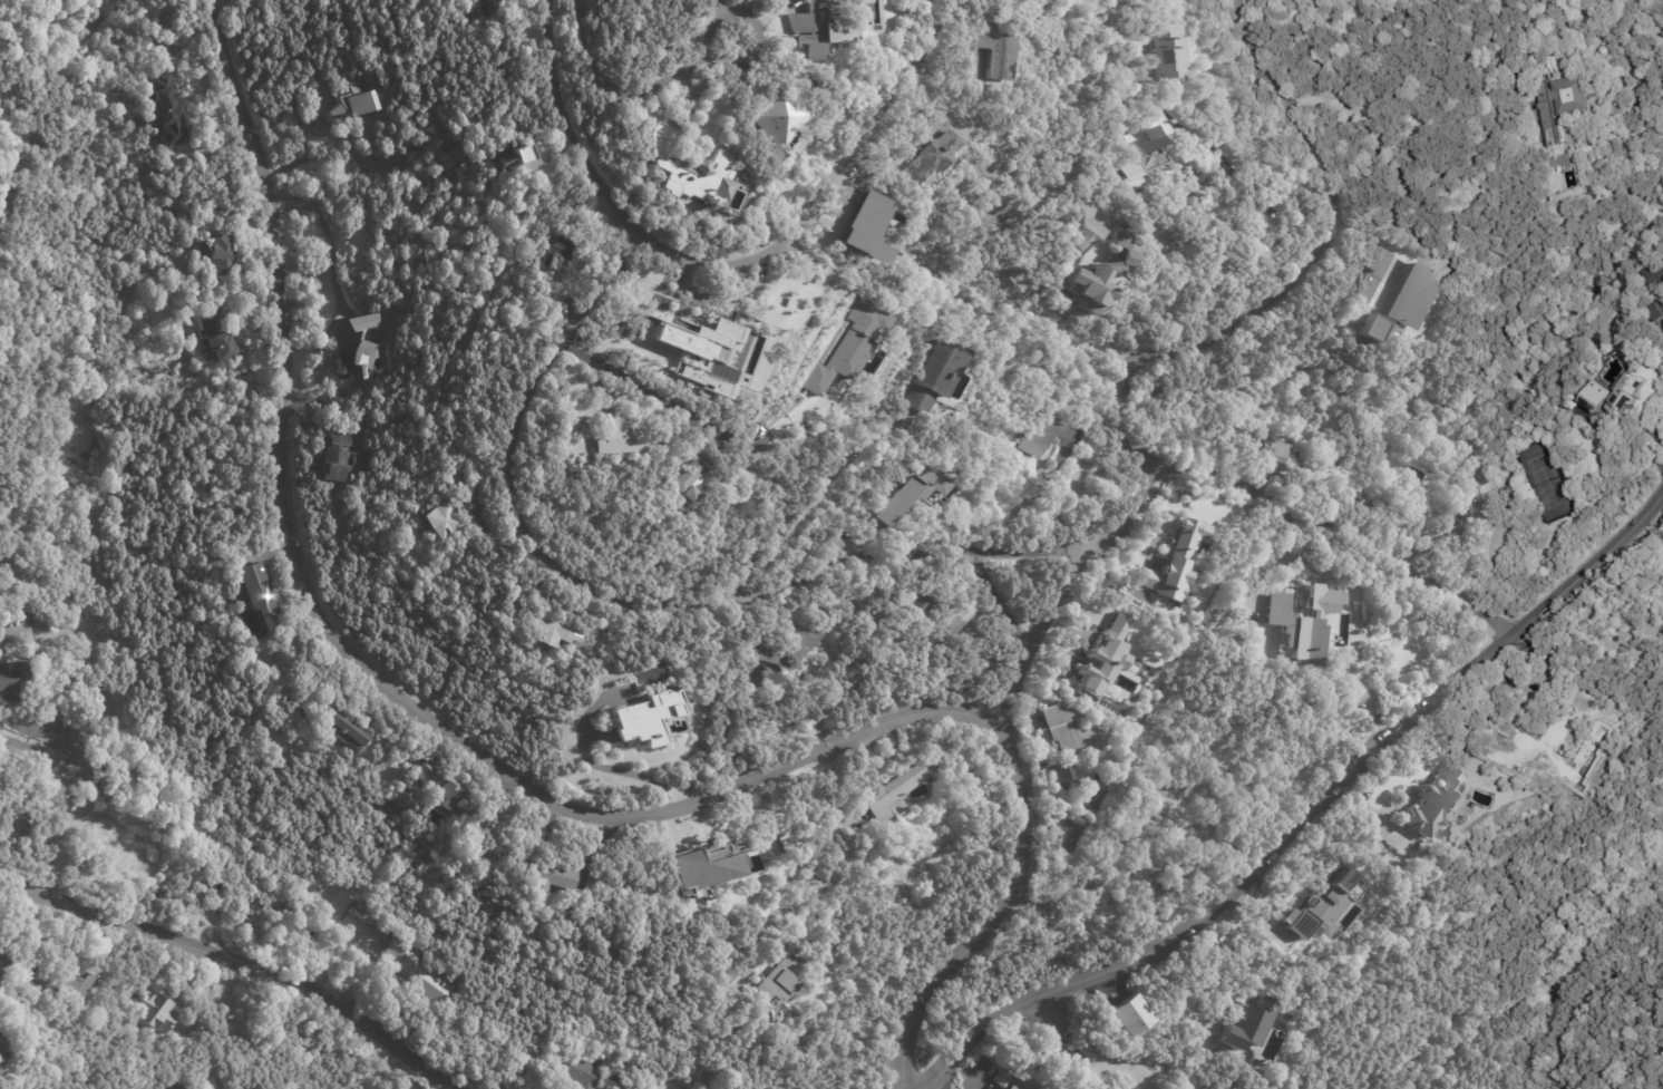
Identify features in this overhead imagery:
building: (819, 23)
building: (998, 50)
building: (1170, 50)
road: (747, 54)
building: (810, 54)
building: (1557, 59)
building: (1147, 71)
road: (1636, 84)
road: (612, 87)
building: (1574, 96)
building: (350, 106)
building: (1662, 107)
building: (164, 110)
building: (775, 121)
building: (1553, 124)
road: (565, 126)
road: (303, 135)
building: (1146, 154)
building: (513, 158)
building: (932, 158)
building: (691, 171)
road: (1239, 181)
road: (821, 193)
building: (865, 226)
building: (1092, 227)
road: (329, 236)
building: (1424, 243)
building: (1126, 249)
building: (1443, 252)
building: (217, 255)
building: (1381, 262)
building: (1662, 262)
building: (548, 265)
road: (1297, 268)
building: (1653, 275)
building: (1089, 289)
building: (1365, 290)
building: (782, 295)
building: (1411, 296)
building: (506, 310)
building: (1656, 313)
road: (1131, 317)
building: (1373, 329)
building: (212, 336)
building: (1368, 344)
building: (359, 346)
building: (707, 352)
building: (935, 376)
road: (632, 380)
building: (1615, 398)
building: (1043, 434)
building: (622, 439)
building: (1274, 453)
building: (337, 459)
building: (747, 464)
building: (572, 470)
building: (1471, 478)
building: (688, 483)
building: (1507, 493)
building: (910, 495)
building: (469, 503)
road: (806, 503)
building: (1363, 503)
road: (1129, 506)
building: (1453, 519)
building: (439, 524)
road: (1332, 531)
building: (1402, 543)
road: (1272, 561)
building: (1177, 563)
building: (254, 596)
road: (1000, 603)
building: (922, 606)
building: (1261, 609)
road: (638, 610)
building: (964, 614)
building: (543, 623)
building: (1303, 624)
road: (1043, 631)
building: (1105, 654)
building: (787, 655)
road: (359, 667)
building: (1121, 668)
building: (13, 683)
building: (1528, 702)
building: (646, 717)
building: (338, 730)
road: (111, 731)
building: (1069, 735)
road: (602, 762)
building: (1064, 775)
building: (444, 791)
building: (898, 791)
building: (1438, 800)
road: (1306, 811)
building: (1165, 815)
building: (1417, 846)
road: (804, 854)
building: (712, 860)
building: (547, 882)
building: (1100, 902)
building: (313, 907)
building: (1326, 907)
road: (998, 915)
building: (392, 943)
road: (1245, 960)
building: (4, 961)
road: (237, 963)
building: (781, 980)
building: (62, 983)
building: (430, 985)
building: (159, 1012)
building: (1127, 1015)
building: (1249, 1025)
building: (1083, 1043)
building: (1194, 1044)
building: (2, 1049)
building: (577, 1070)
road: (942, 1079)
building: (1005, 1080)
building: (176, 1087)
building: (1013, 1087)
road: (2, 1088)

